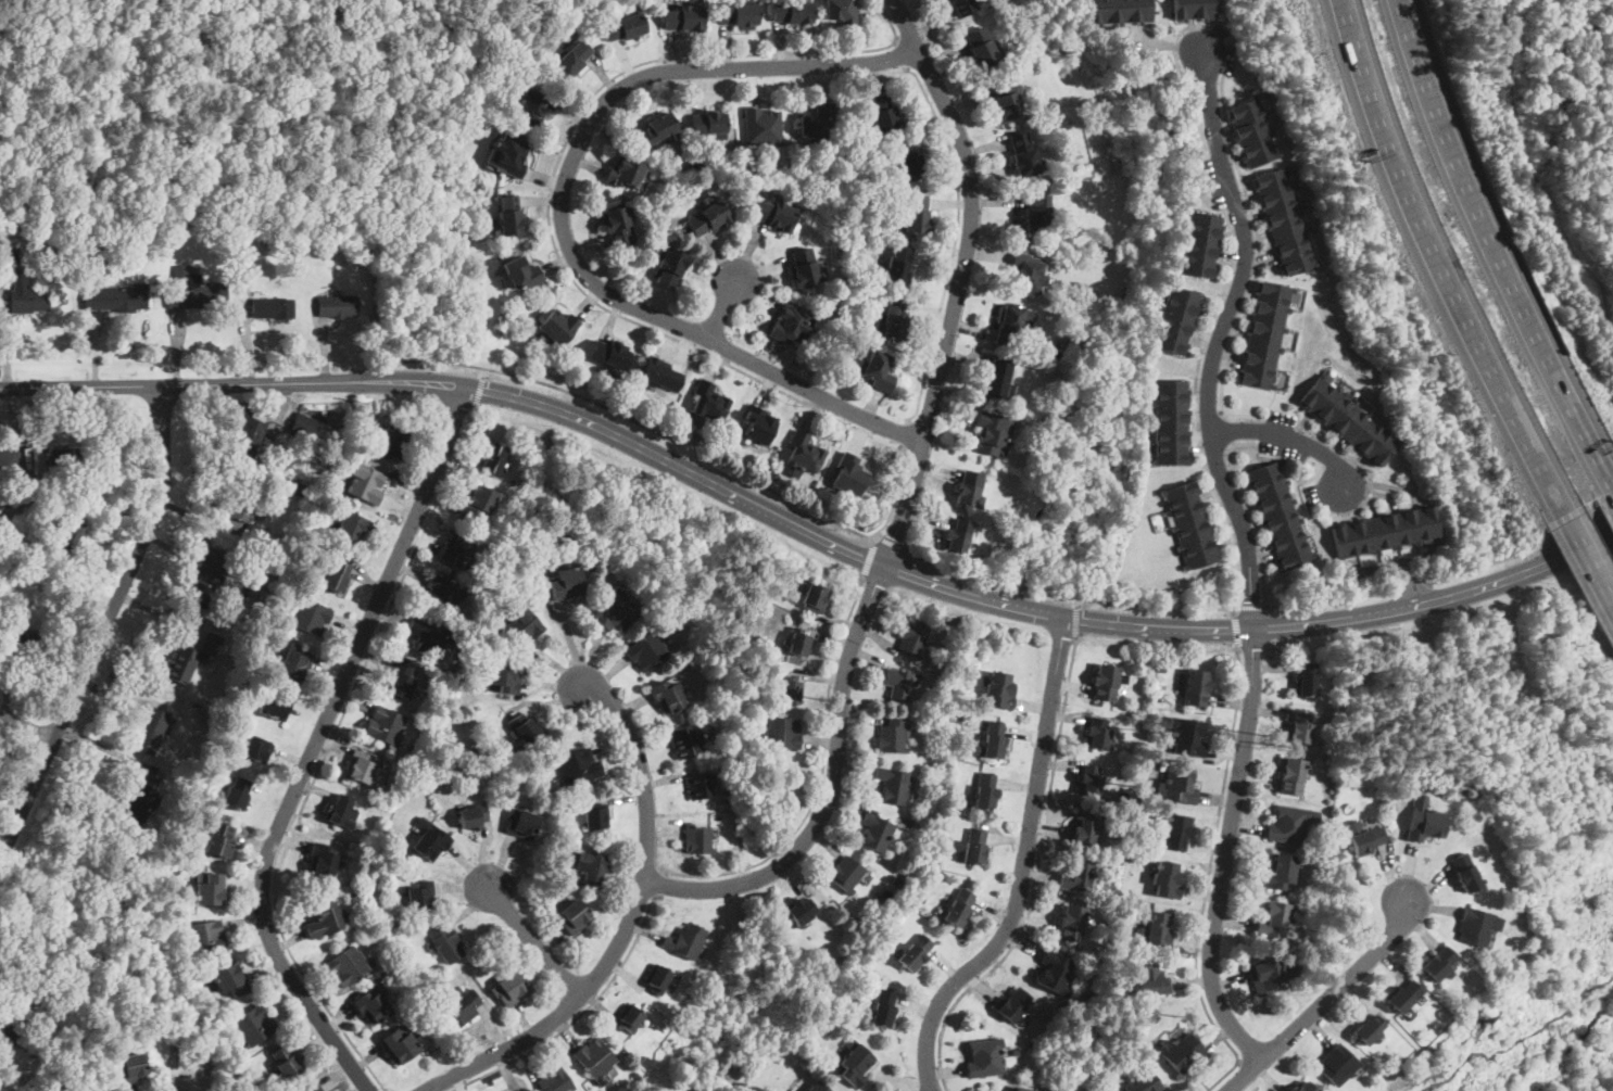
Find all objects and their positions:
building: (961, 7)
building: (1194, 10)
building: (792, 11)
building: (1119, 11)
building: (841, 12)
building: (738, 13)
building: (683, 17)
building: (625, 24)
building: (980, 46)
road: (900, 54)
building: (571, 58)
road: (1185, 76)
building: (1005, 98)
building: (533, 106)
building: (883, 111)
building: (818, 120)
building: (708, 124)
building: (763, 124)
building: (655, 130)
building: (1252, 130)
building: (1022, 152)
building: (508, 153)
building: (908, 158)
building: (627, 173)
building: (1037, 211)
road: (562, 212)
building: (913, 213)
building: (773, 214)
building: (508, 215)
building: (705, 218)
building: (1286, 220)
building: (619, 224)
road: (553, 239)
road: (955, 241)
road: (1494, 243)
building: (1199, 245)
road: (1440, 257)
building: (899, 265)
building: (806, 267)
road: (1258, 267)
building: (665, 268)
building: (519, 272)
building: (1030, 277)
road: (958, 278)
building: (193, 289)
building: (26, 293)
building: (115, 296)
building: (336, 304)
building: (272, 306)
road: (722, 306)
building: (890, 320)
building: (1175, 320)
building: (791, 322)
building: (1011, 322)
building: (557, 326)
road: (3, 331)
road: (1221, 332)
building: (1265, 334)
building: (609, 353)
building: (875, 368)
building: (661, 375)
building: (998, 378)
building: (709, 402)
road: (1195, 414)
building: (1350, 420)
building: (1170, 422)
road: (642, 423)
building: (303, 424)
building: (757, 426)
building: (991, 433)
building: (250, 436)
road: (907, 436)
road: (1294, 437)
building: (391, 442)
building: (805, 454)
building: (493, 457)
building: (9, 462)
building: (61, 462)
road: (1366, 471)
building: (848, 474)
road: (1612, 478)
building: (365, 483)
building: (969, 487)
building: (478, 499)
building: (242, 506)
road: (1251, 512)
building: (1278, 515)
building: (1192, 524)
road: (807, 525)
building: (351, 530)
building: (1385, 531)
building: (68, 532)
building: (957, 535)
road: (893, 544)
building: (457, 547)
road: (1522, 556)
road: (1586, 558)
road: (870, 559)
building: (207, 573)
building: (336, 575)
building: (566, 582)
road: (1409, 586)
building: (442, 589)
road: (1069, 596)
building: (815, 597)
road: (1327, 600)
road: (1076, 601)
road: (1251, 608)
building: (614, 610)
building: (311, 617)
road: (1075, 621)
building: (524, 625)
road: (103, 627)
road: (1236, 633)
building: (425, 635)
building: (911, 638)
building: (798, 643)
building: (20, 648)
building: (647, 649)
building: (188, 661)
building: (294, 661)
building: (500, 675)
building: (399, 677)
building: (1305, 677)
building: (1106, 681)
building: (897, 683)
building: (1196, 687)
building: (791, 688)
building: (1000, 689)
building: (668, 694)
building: (274, 705)
building: (385, 723)
road: (27, 725)
building: (1300, 725)
building: (522, 726)
building: (151, 730)
building: (1098, 731)
building: (783, 732)
building: (891, 735)
building: (1189, 736)
building: (688, 739)
building: (992, 740)
road: (316, 741)
building: (255, 747)
road: (326, 753)
building: (361, 765)
building: (579, 765)
building: (1291, 774)
road: (821, 777)
building: (1089, 779)
building: (700, 784)
building: (1180, 784)
building: (892, 785)
road: (833, 788)
building: (985, 790)
building: (235, 791)
building: (139, 800)
building: (341, 811)
building: (471, 814)
building: (594, 816)
building: (1426, 821)
building: (520, 822)
building: (1290, 822)
building: (1351, 826)
building: (1085, 827)
building: (1176, 830)
building: (874, 832)
building: (698, 837)
building: (1365, 838)
building: (219, 840)
building: (430, 841)
building: (974, 846)
road: (1226, 850)
building: (322, 861)
building: (591, 867)
road: (1023, 867)
building: (1280, 871)
building: (1465, 871)
building: (846, 873)
building: (1078, 875)
building: (1165, 877)
road: (1036, 879)
road: (1208, 880)
road: (659, 883)
building: (207, 887)
building: (419, 895)
building: (959, 905)
building: (801, 910)
building: (574, 915)
building: (1275, 917)
building: (324, 919)
building: (1072, 922)
road: (626, 926)
building: (1157, 926)
building: (1477, 926)
building: (206, 936)
building: (686, 939)
building: (445, 940)
road: (537, 942)
building: (916, 951)
building: (1438, 962)
building: (348, 965)
building: (1056, 972)
building: (1271, 974)
building: (656, 977)
building: (1152, 978)
building: (229, 979)
building: (509, 988)
building: (1402, 995)
road: (1324, 1000)
building: (1011, 1002)
building: (373, 1005)
building: (462, 1005)
building: (883, 1007)
building: (18, 1013)
road: (581, 1014)
building: (629, 1015)
building: (253, 1023)
building: (1368, 1029)
building: (399, 1042)
building: (1184, 1052)
building: (595, 1056)
building: (984, 1056)
building: (286, 1062)
building: (854, 1063)
building: (128, 1065)
building: (1337, 1065)
building: (554, 1079)
building: (1145, 1082)
building: (179, 1083)
building: (1301, 1086)
building: (815, 1087)
building: (310, 1088)
building: (93, 1089)
building: (519, 1089)
building: (1022, 1089)
building: (505, 1090)

